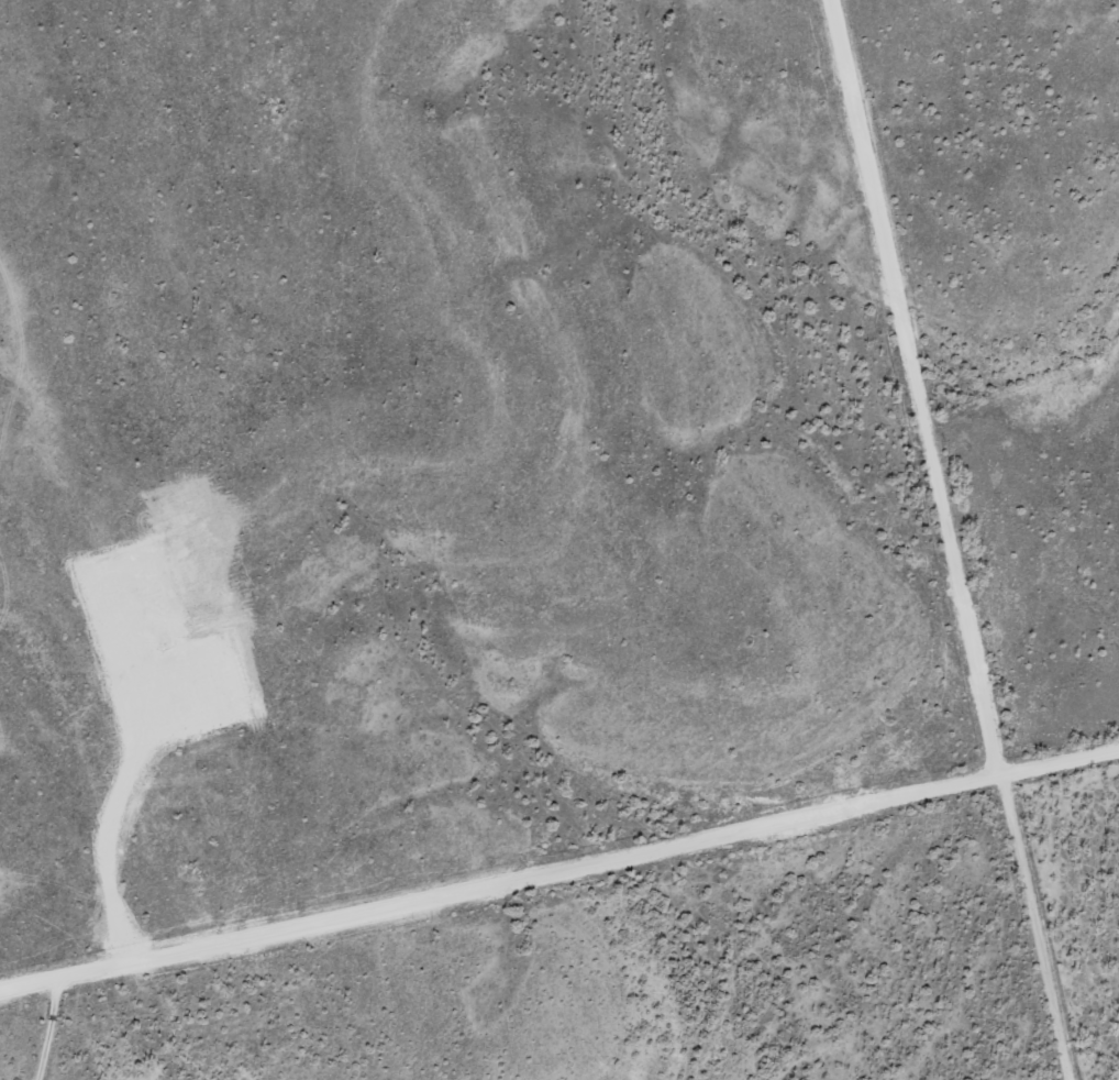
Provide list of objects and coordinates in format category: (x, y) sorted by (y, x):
road: (915, 387)
road: (559, 869)
road: (1034, 927)
road: (44, 1028)

